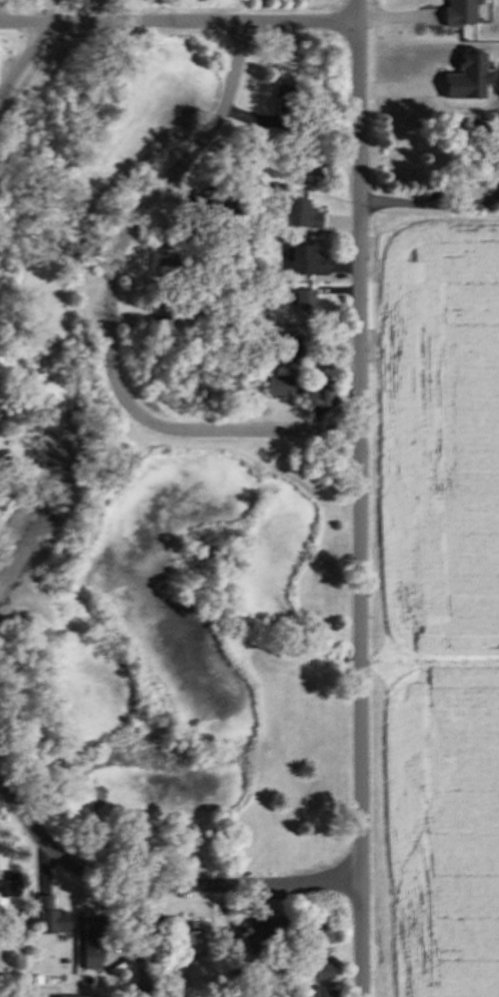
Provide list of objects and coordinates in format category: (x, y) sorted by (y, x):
road: (100, 11)
road: (182, 24)
road: (23, 59)
building: (286, 105)
building: (319, 114)
building: (308, 166)
building: (273, 184)
road: (432, 205)
building: (202, 210)
building: (300, 215)
road: (131, 232)
building: (306, 256)
building: (165, 266)
building: (198, 272)
building: (166, 301)
building: (208, 301)
building: (303, 303)
building: (290, 343)
building: (279, 379)
building: (315, 385)
road: (271, 434)
building: (10, 464)
road: (363, 498)
road: (160, 889)
building: (9, 890)
building: (52, 916)
building: (261, 925)
building: (277, 933)
building: (193, 937)
building: (94, 942)
road: (153, 943)
building: (325, 970)
building: (36, 977)
building: (308, 979)
building: (320, 992)

